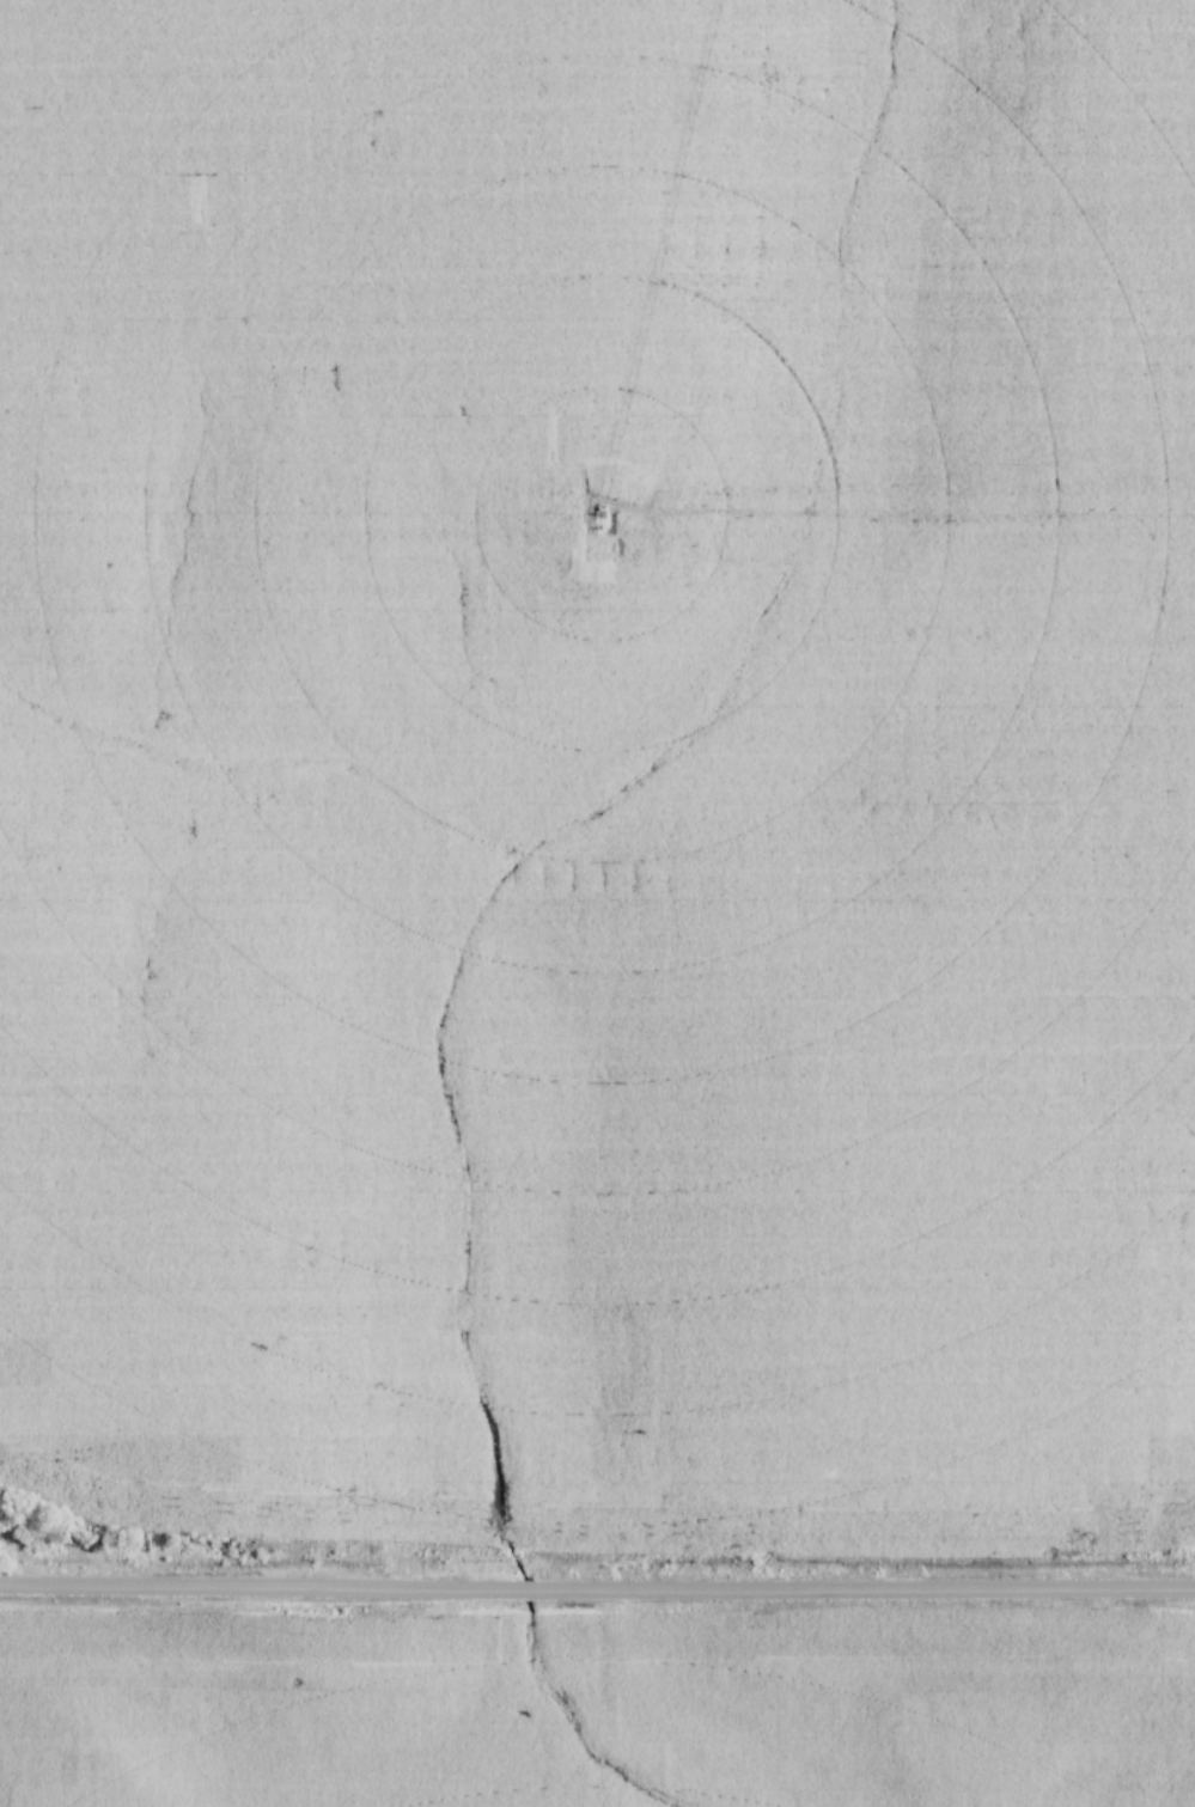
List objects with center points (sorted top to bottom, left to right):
crop: (598, 764)
road: (597, 1589)

